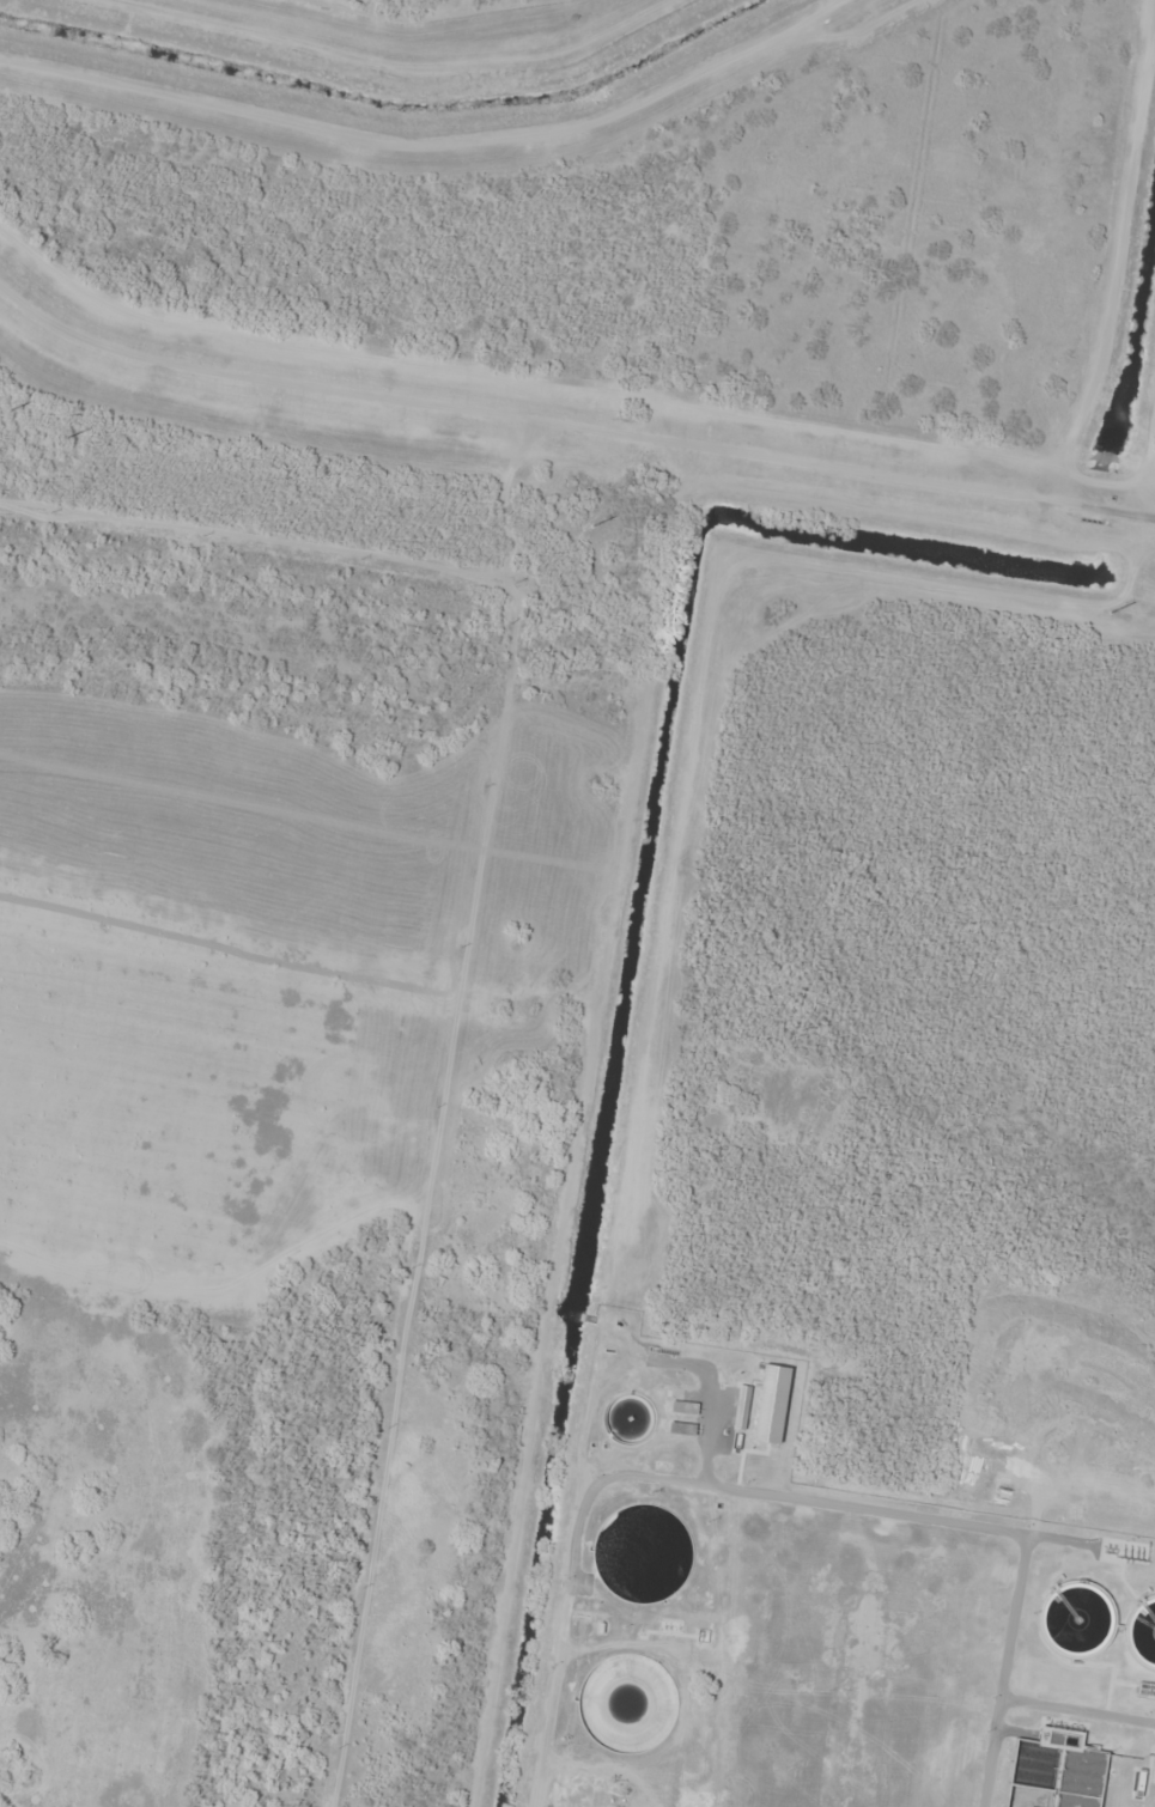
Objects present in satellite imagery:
building: (683, 1407)
building: (681, 1428)
building: (639, 1556)
wastewater plant: (817, 1611)
wastewater plant: (796, 1679)

